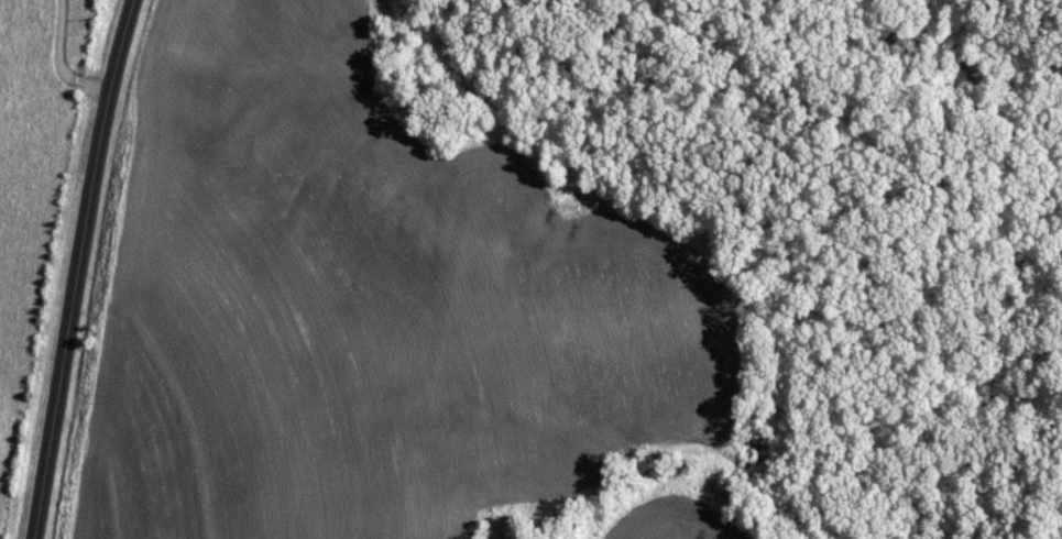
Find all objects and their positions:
road: (56, 64)
road: (79, 268)

